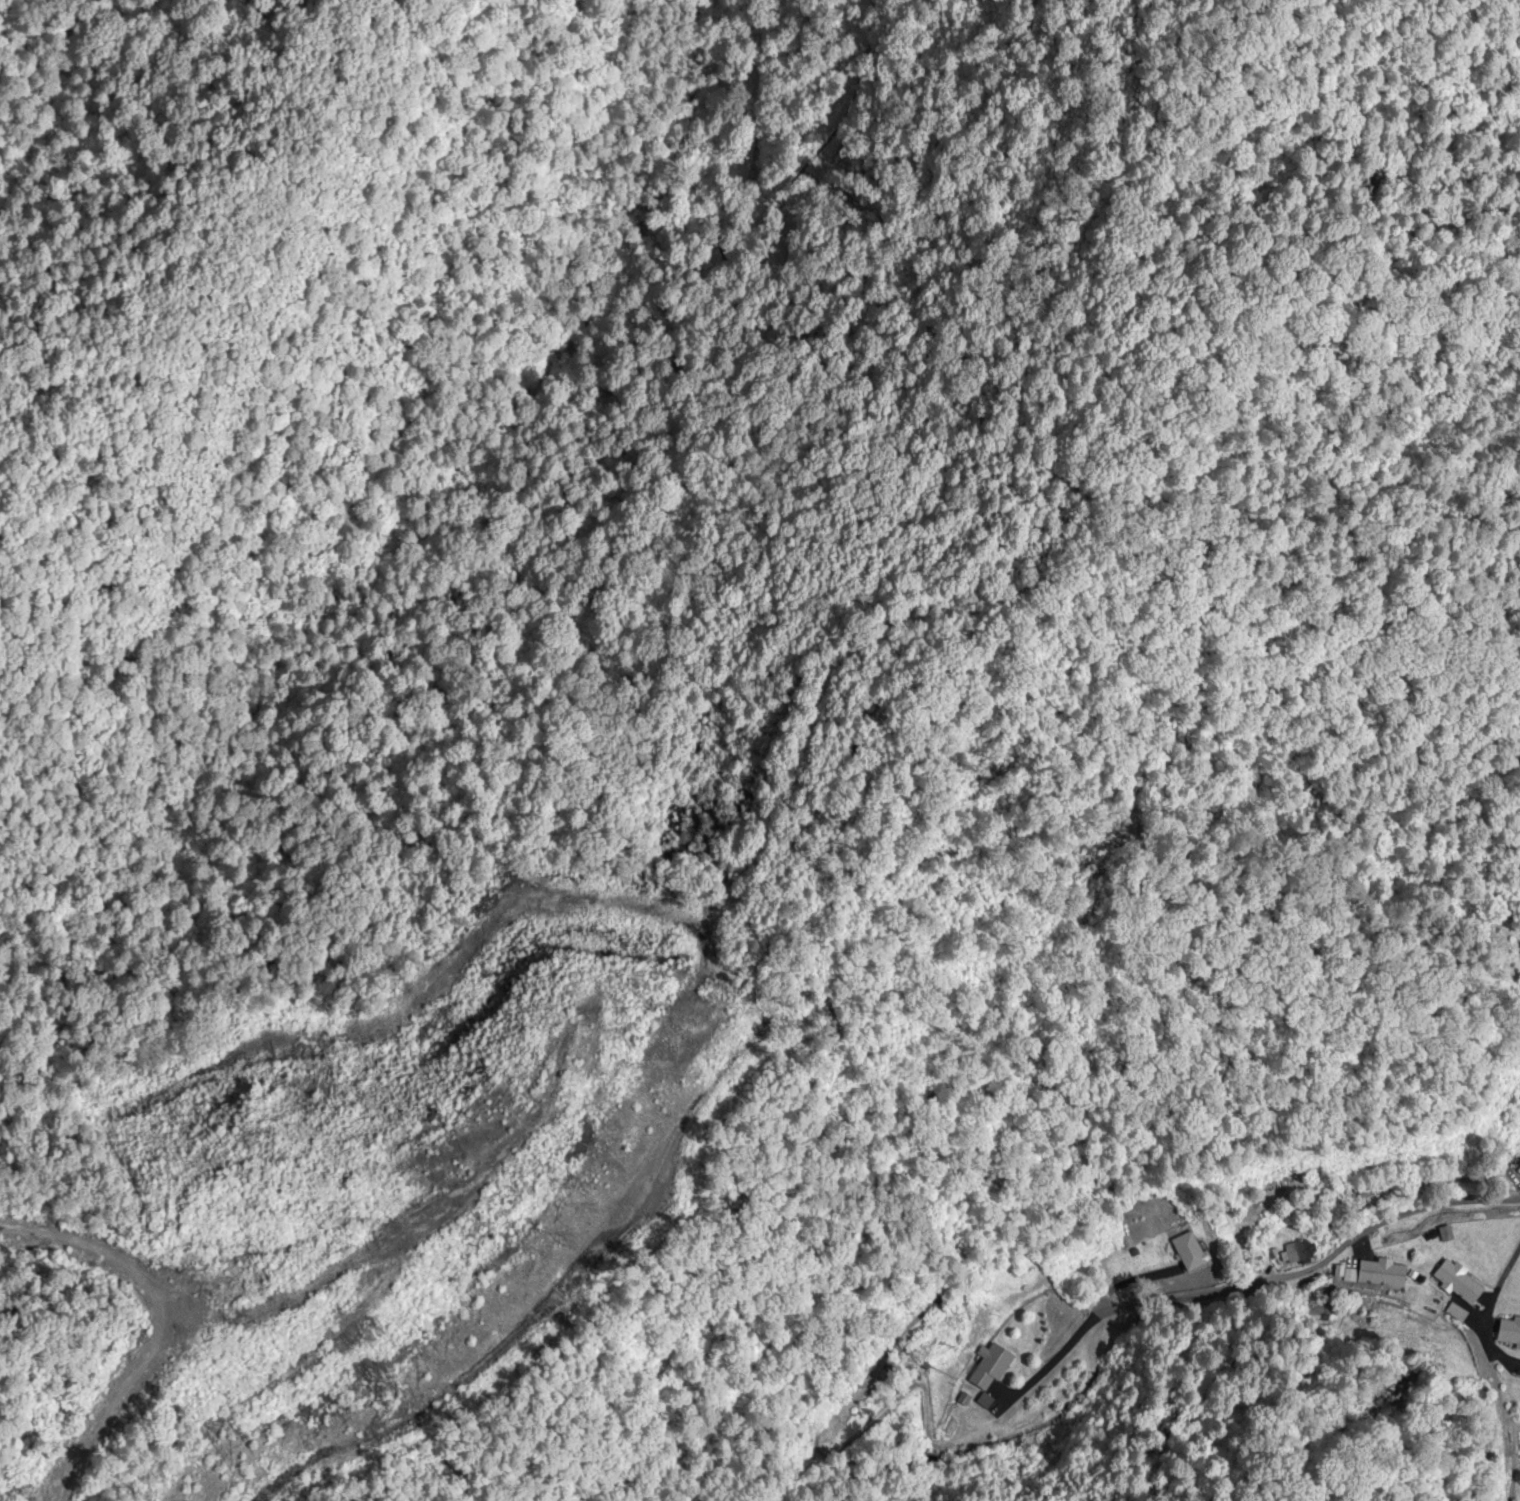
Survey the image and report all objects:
building: (1518, 1170)
building: (1193, 1252)
building: (1294, 1253)
road: (1198, 1265)
building: (1382, 1274)
building: (1348, 1279)
building: (1460, 1283)
building: (1510, 1331)
building: (990, 1366)

